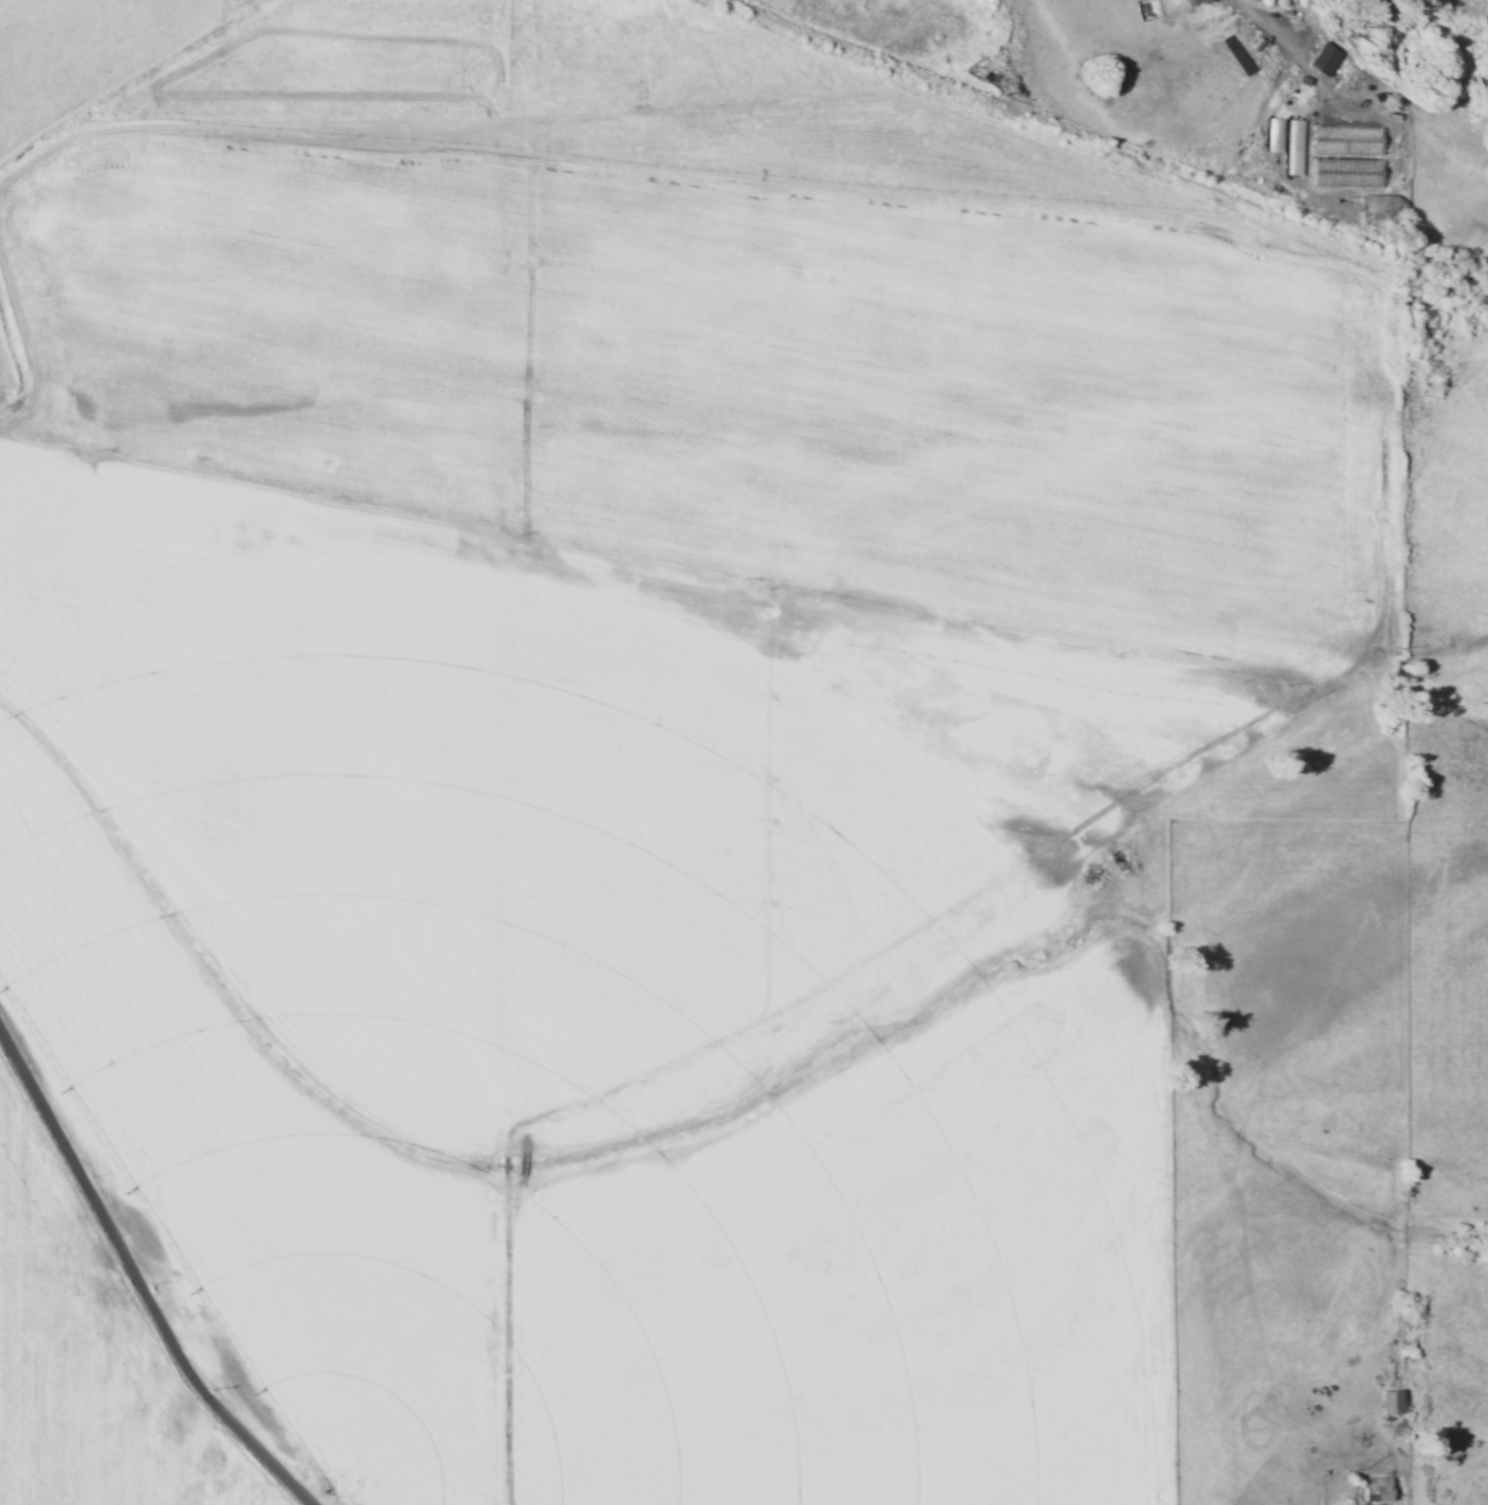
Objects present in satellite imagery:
building: (1325, 58)
building: (1294, 154)
building: (1380, 206)
road: (5, 395)
road: (904, 933)
road: (138, 1279)
building: (1391, 1401)

